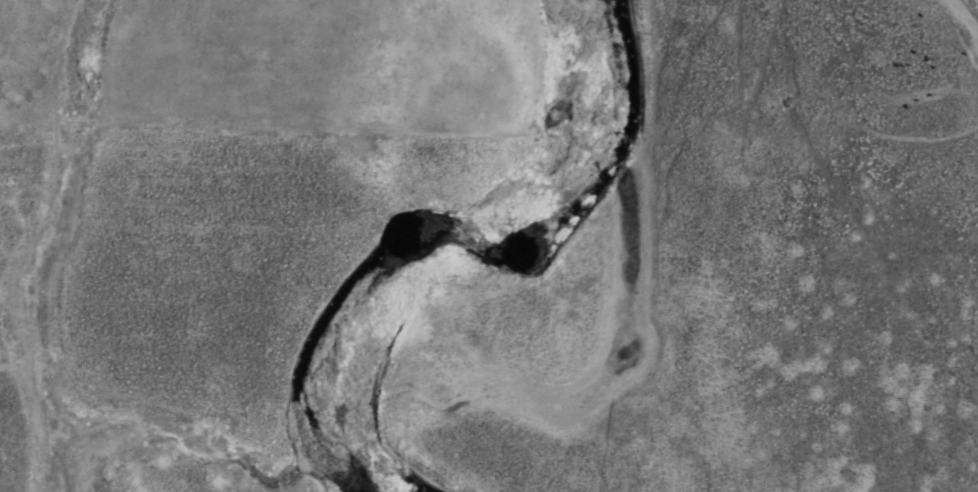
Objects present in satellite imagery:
crop: (489, 246)

